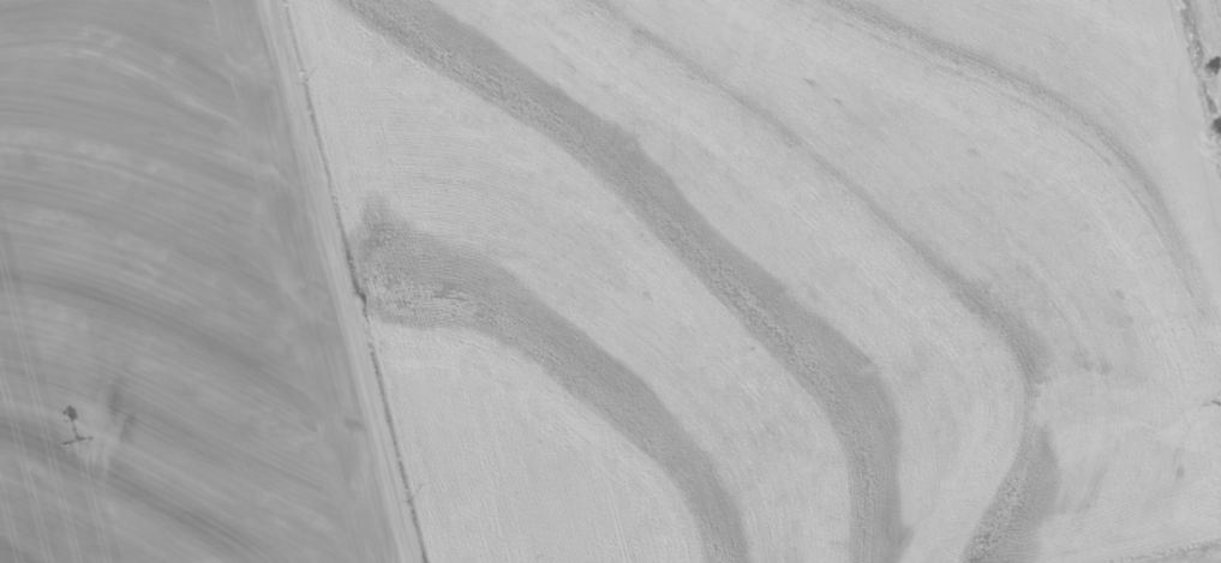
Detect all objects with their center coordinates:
park: (1207, 56)
road: (1196, 77)

